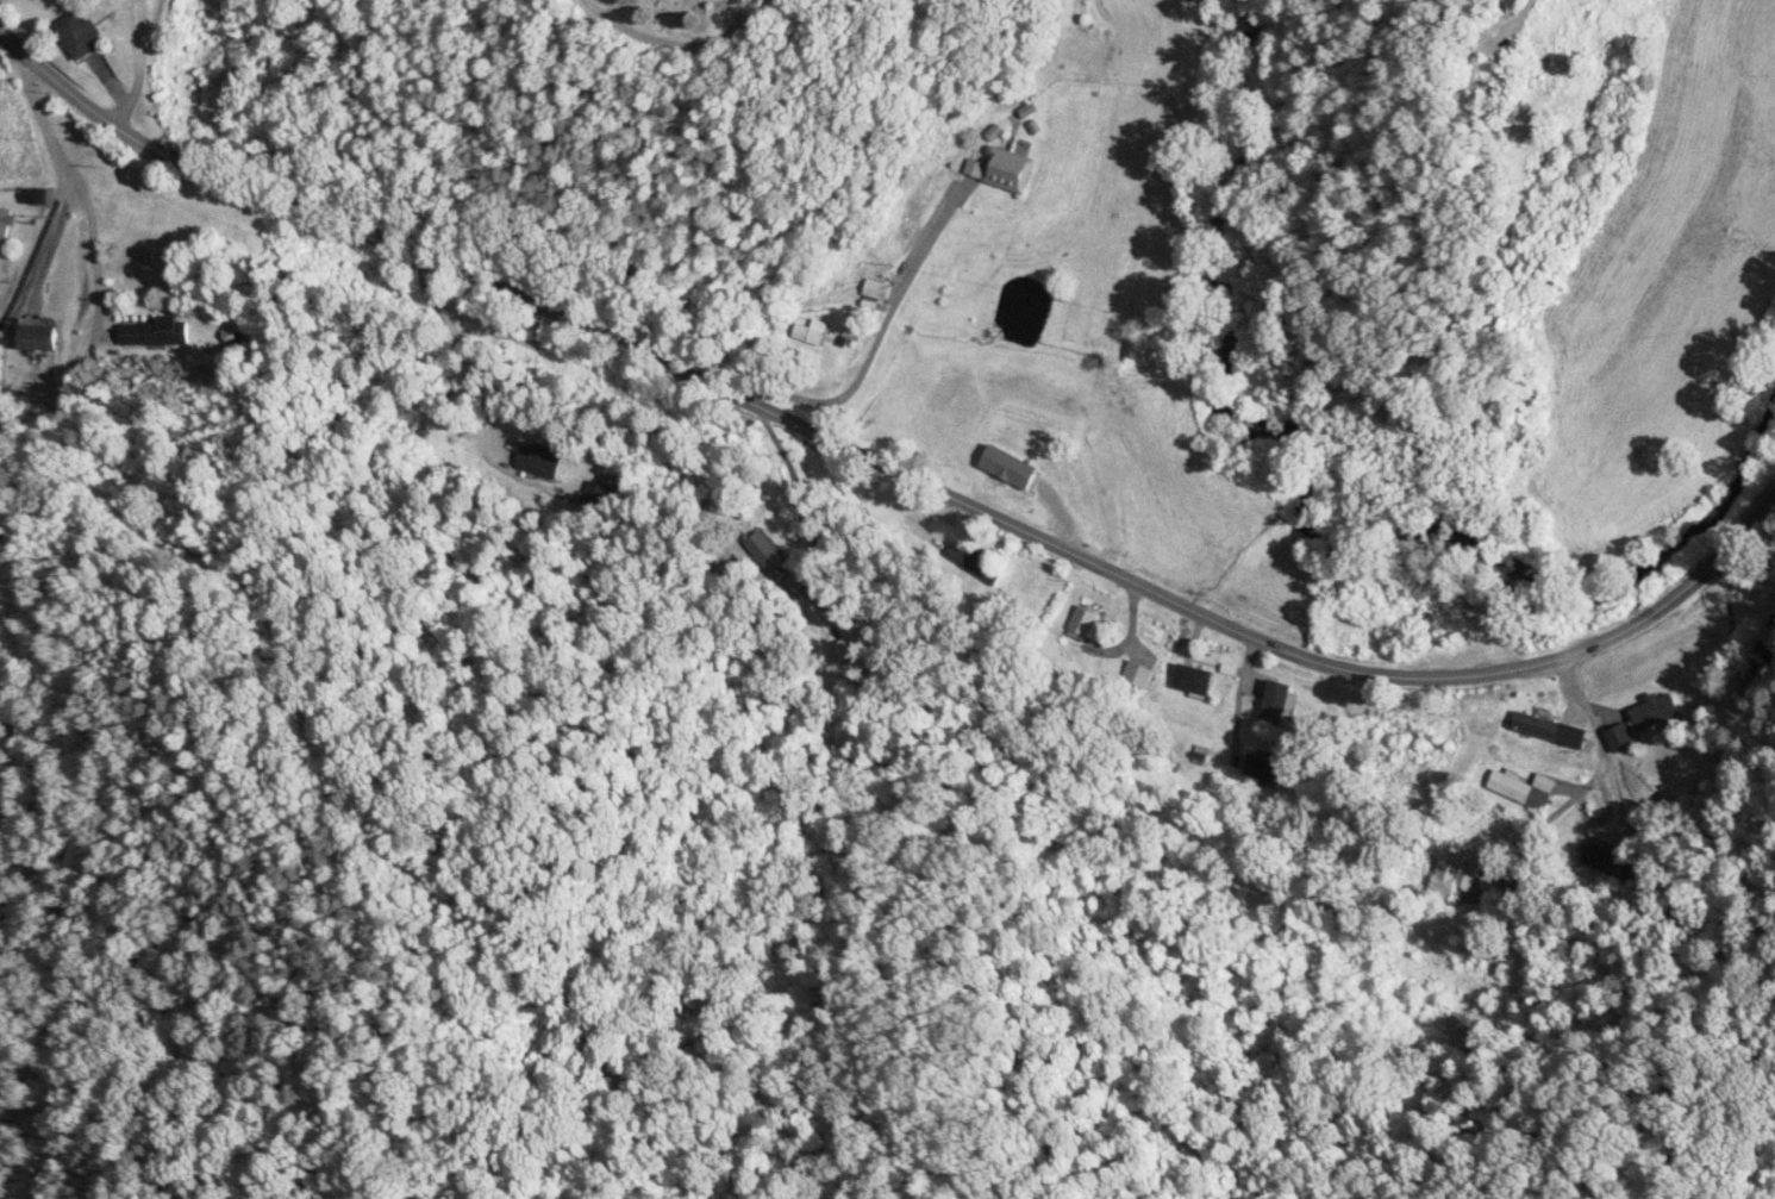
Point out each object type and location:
building: (82, 37)
road: (692, 38)
road: (142, 71)
building: (1005, 171)
road: (67, 192)
building: (39, 198)
building: (5, 224)
road: (95, 251)
building: (877, 291)
building: (155, 333)
building: (810, 336)
road: (874, 337)
building: (39, 338)
road: (462, 358)
road: (883, 466)
building: (1195, 680)
building: (1277, 705)
building: (1654, 712)
building: (1548, 731)
building: (1619, 741)
building: (1511, 788)
building: (1446, 875)

